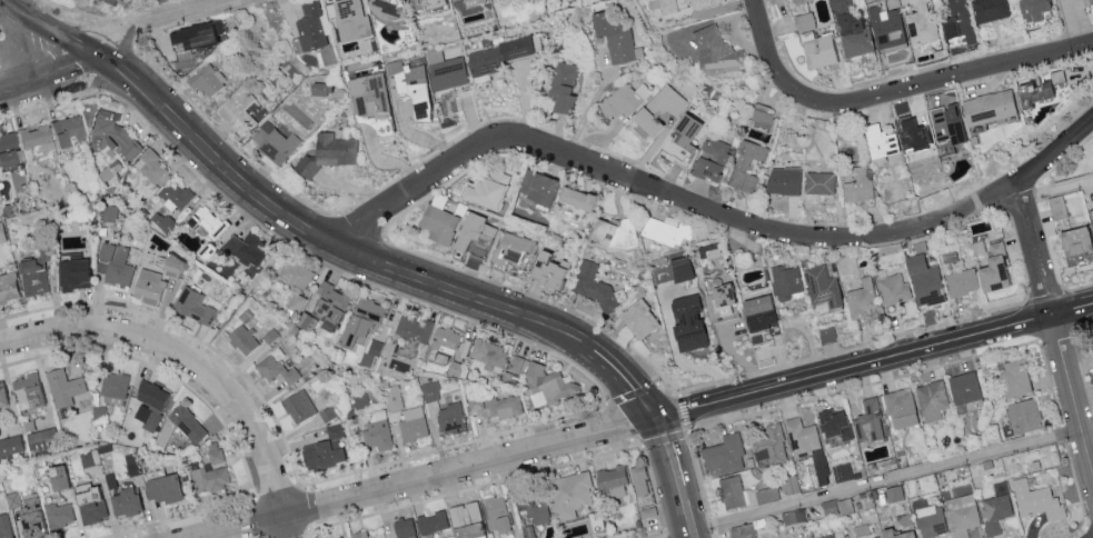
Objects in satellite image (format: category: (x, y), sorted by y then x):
building: (119, 0)
building: (682, 0)
building: (468, 2)
building: (702, 2)
building: (665, 6)
building: (988, 9)
building: (1032, 9)
road: (158, 18)
building: (350, 19)
building: (958, 19)
building: (803, 20)
building: (920, 20)
road: (1079, 23)
building: (886, 26)
building: (849, 29)
road: (48, 30)
road: (4, 31)
building: (190, 36)
building: (615, 36)
building: (714, 48)
building: (817, 51)
building: (445, 69)
road: (49, 78)
building: (206, 79)
building: (413, 86)
building: (563, 87)
building: (319, 88)
building: (1039, 88)
road: (893, 91)
building: (369, 93)
building: (625, 99)
road: (593, 104)
building: (987, 107)
building: (659, 108)
building: (238, 111)
building: (762, 113)
building: (947, 122)
building: (63, 131)
building: (913, 132)
building: (113, 134)
building: (33, 139)
building: (680, 139)
building: (880, 140)
building: (274, 141)
road: (481, 145)
building: (6, 147)
building: (328, 152)
building: (712, 159)
building: (150, 165)
building: (746, 166)
building: (783, 180)
building: (819, 182)
building: (858, 185)
building: (535, 186)
building: (484, 191)
road: (1059, 192)
building: (175, 193)
building: (574, 197)
building: (1056, 207)
building: (1092, 211)
building: (162, 220)
building: (206, 220)
building: (438, 223)
building: (1092, 228)
building: (666, 230)
building: (615, 231)
building: (1, 233)
building: (475, 233)
road: (884, 236)
building: (1075, 245)
road: (335, 246)
building: (513, 247)
building: (245, 248)
building: (115, 262)
building: (680, 268)
building: (992, 268)
building: (548, 269)
building: (71, 271)
building: (295, 272)
building: (31, 276)
building: (924, 280)
building: (785, 281)
building: (962, 281)
building: (592, 282)
building: (147, 283)
building: (8, 286)
building: (823, 286)
building: (893, 289)
road: (245, 293)
building: (862, 299)
building: (295, 301)
building: (327, 303)
building: (193, 306)
building: (759, 312)
road: (1073, 313)
building: (639, 318)
building: (359, 319)
building: (305, 320)
building: (687, 322)
road: (1055, 325)
building: (413, 327)
building: (270, 335)
building: (241, 338)
building: (1092, 339)
building: (443, 341)
building: (368, 352)
building: (1092, 352)
building: (489, 355)
road: (186, 359)
building: (515, 362)
building: (275, 369)
road: (855, 369)
building: (1012, 377)
building: (113, 383)
building: (547, 383)
building: (62, 387)
building: (962, 387)
building: (27, 390)
road: (638, 392)
building: (2, 396)
building: (360, 399)
building: (931, 399)
building: (148, 402)
building: (298, 405)
building: (498, 405)
building: (900, 408)
building: (1024, 415)
building: (448, 417)
building: (384, 420)
traffic signals: (656, 420)
building: (867, 420)
building: (186, 422)
building: (834, 422)
building: (413, 424)
building: (165, 431)
building: (801, 437)
building: (10, 445)
building: (771, 445)
road: (670, 451)
building: (320, 454)
building: (215, 455)
building: (724, 455)
building: (842, 471)
building: (53, 477)
building: (208, 477)
road: (431, 478)
building: (637, 480)
building: (610, 481)
road: (885, 481)
building: (789, 484)
building: (161, 487)
building: (731, 491)
building: (894, 492)
building: (567, 494)
building: (767, 494)
building: (749, 496)
building: (12, 499)
building: (1036, 499)
building: (122, 501)
building: (837, 506)
building: (996, 508)
building: (535, 509)
building: (91, 510)
road: (685, 511)
building: (58, 512)
building: (463, 512)
building: (495, 512)
building: (962, 514)
building: (29, 518)
building: (931, 520)
building: (431, 521)
building: (4, 526)
road: (285, 528)
building: (404, 528)
building: (467, 530)
building: (742, 530)
building: (860, 530)
building: (528, 531)
building: (360, 534)
building: (895, 534)
building: (339, 537)

